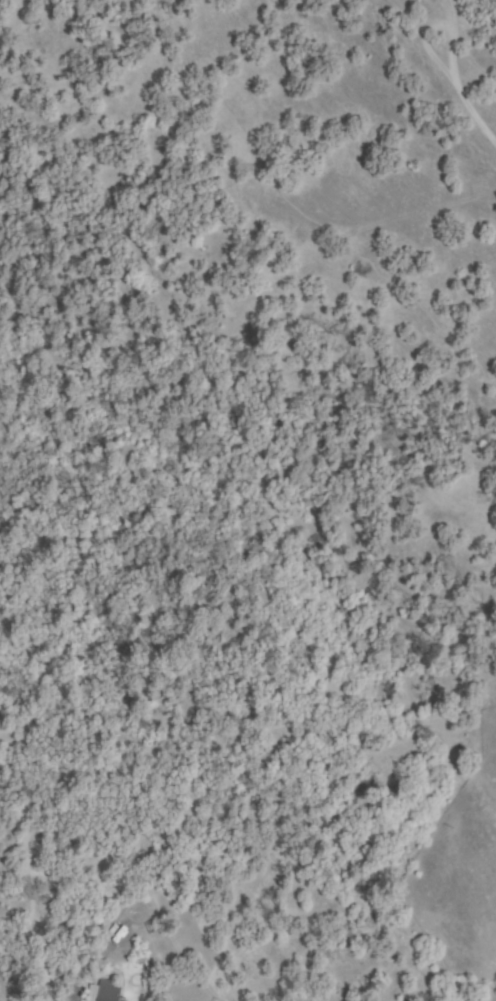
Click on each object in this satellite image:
building: (104, 992)

